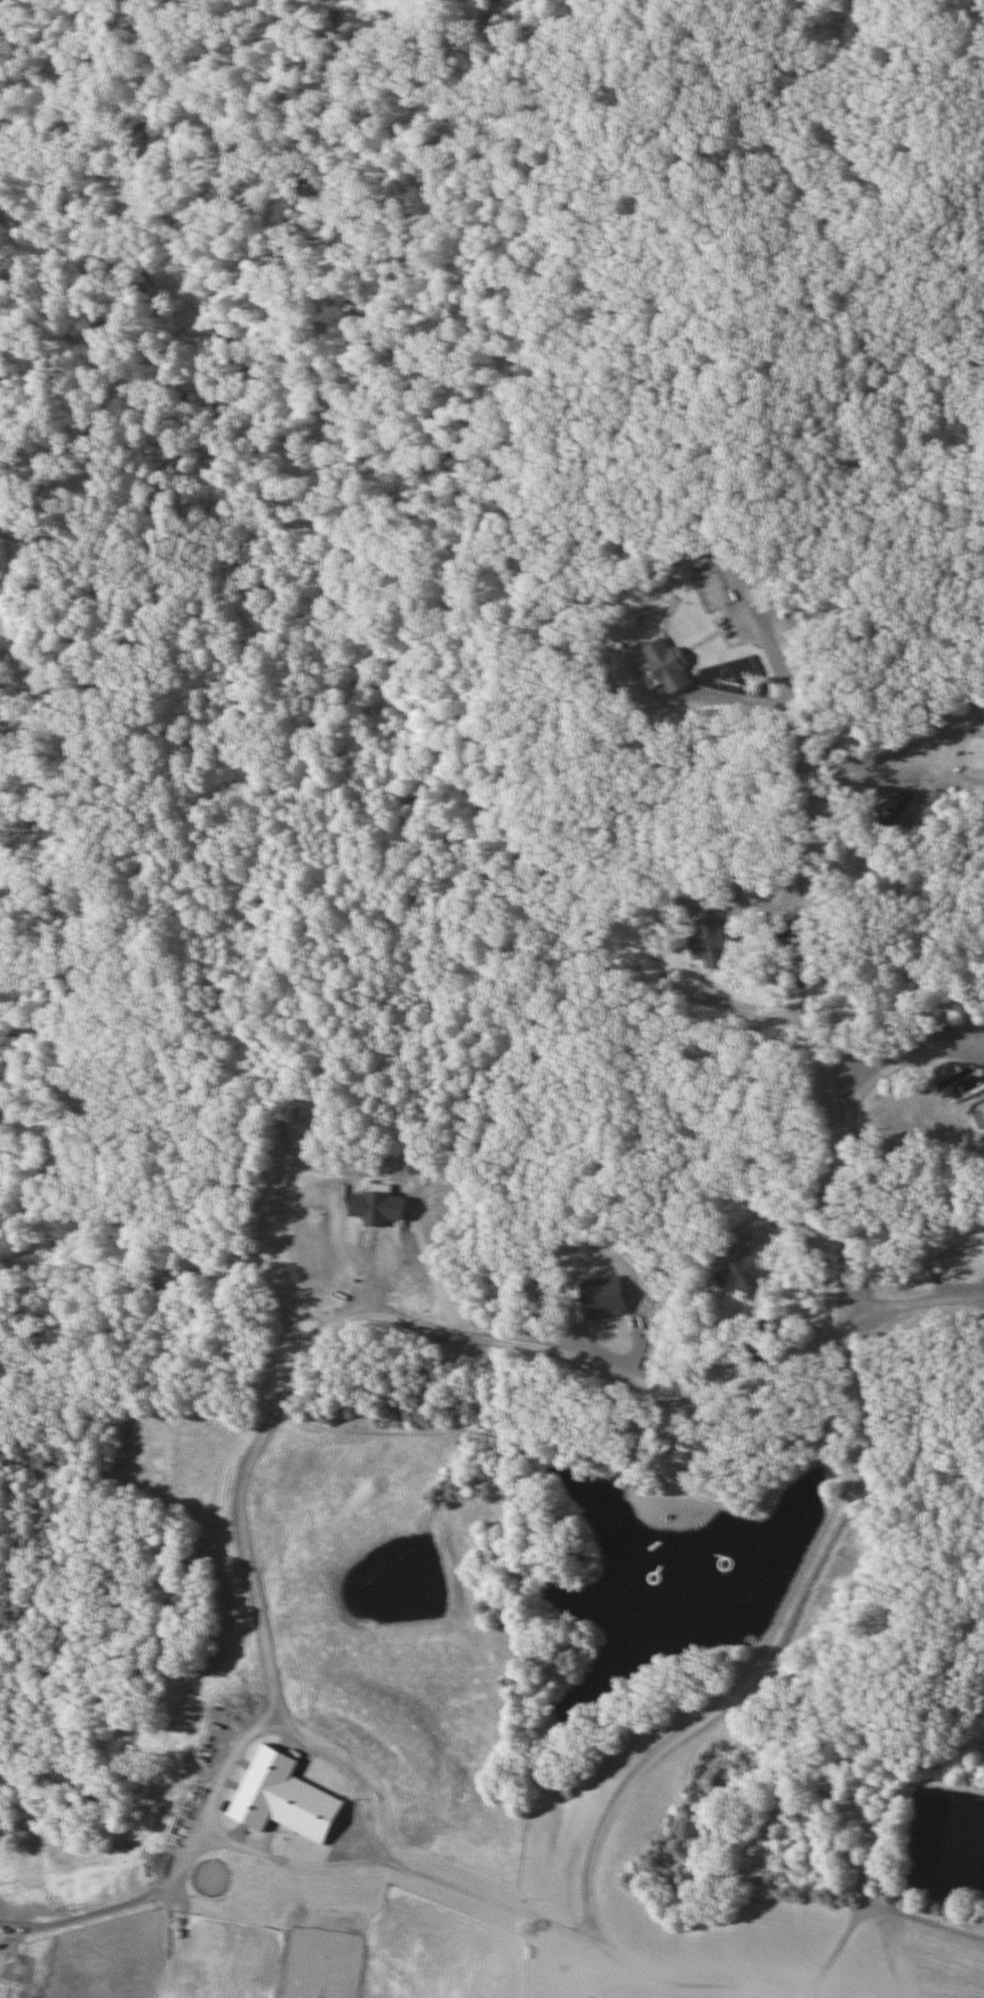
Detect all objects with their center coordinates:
road: (791, 711)
road: (950, 728)
road: (947, 770)
road: (862, 776)
road: (747, 896)
building: (710, 943)
road: (902, 1046)
road: (711, 1271)
building: (739, 1273)
road: (385, 1309)
road: (819, 1550)
building: (282, 1800)
road: (246, 1846)
road: (119, 1903)
road: (863, 1903)
road: (924, 1917)

